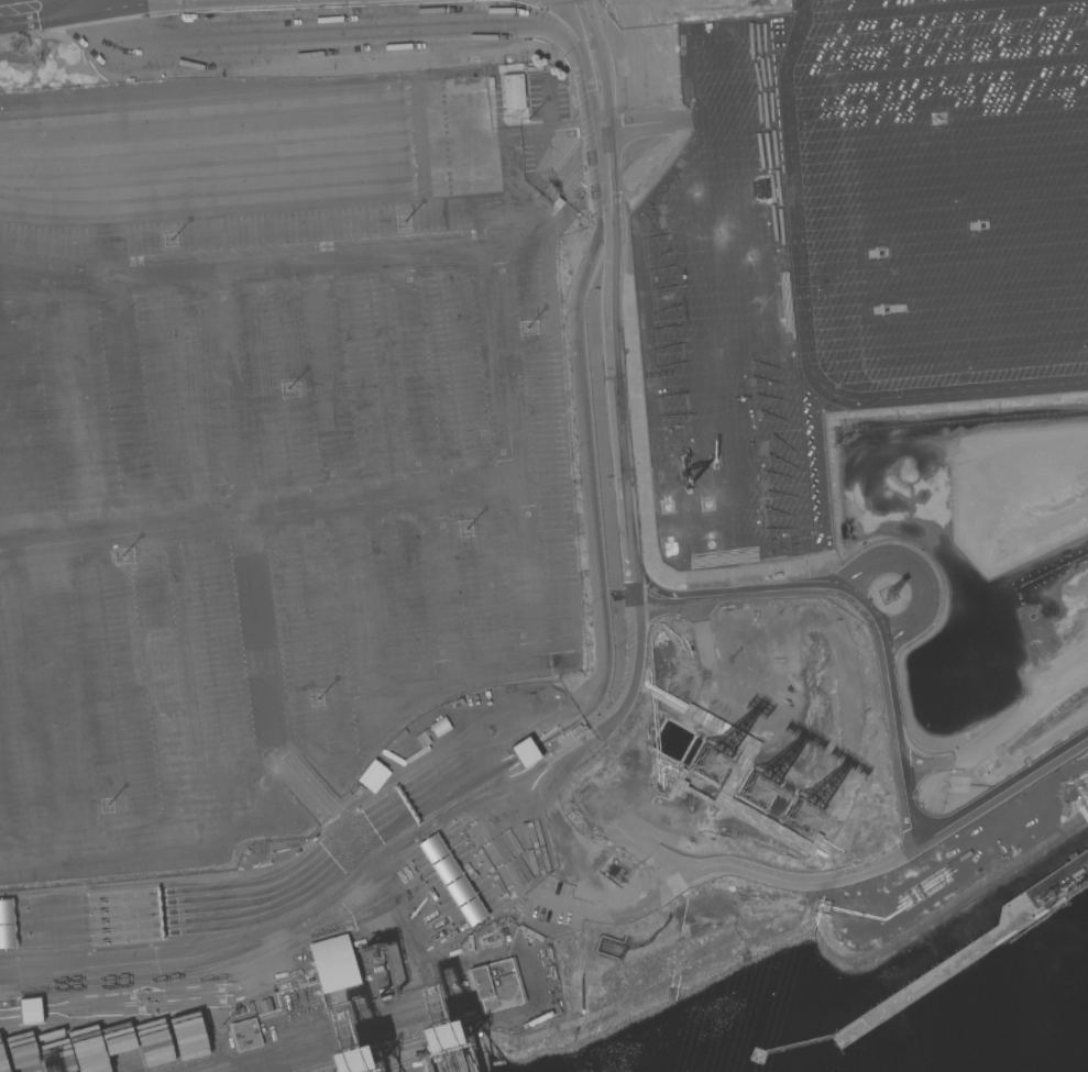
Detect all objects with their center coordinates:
road: (73, 1)
road: (54, 4)
road: (316, 41)
building: (513, 91)
railway: (204, 103)
railway: (205, 118)
road: (548, 125)
railway: (206, 134)
road: (472, 141)
railway: (206, 147)
road: (541, 151)
railway: (207, 165)
railway: (207, 179)
railway: (207, 196)
road: (512, 206)
railway: (208, 209)
road: (553, 220)
road: (476, 230)
road: (246, 269)
road: (611, 286)
road: (840, 313)
road: (589, 457)
road: (372, 494)
power tower: (688, 526)
road: (433, 687)
road: (890, 706)
building: (440, 727)
road: (974, 750)
building: (525, 752)
road: (173, 764)
power tower: (757, 789)
power tower: (802, 816)
road: (732, 869)
building: (451, 880)
building: (6, 925)
building: (336, 970)
building: (496, 985)
building: (30, 1010)
building: (245, 1035)
building: (437, 1037)
pier: (435, 1060)

